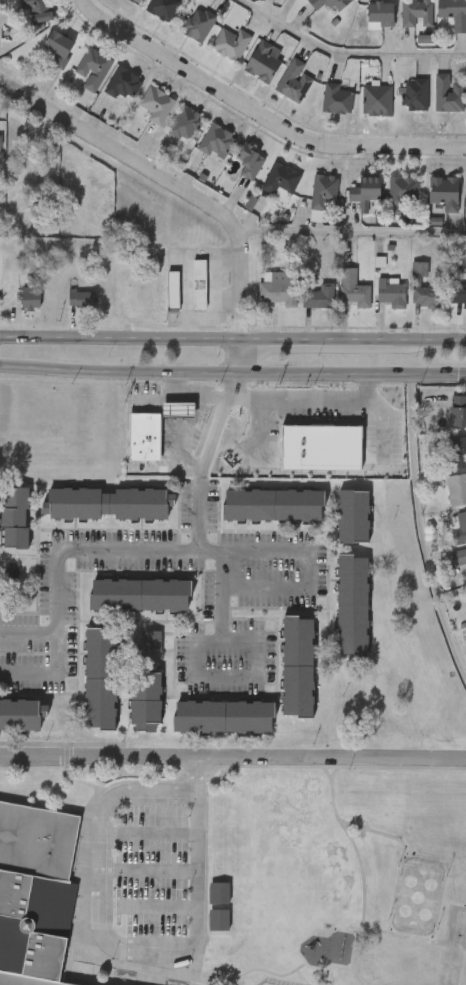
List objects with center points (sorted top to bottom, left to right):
building: (329, 4)
building: (162, 8)
building: (35, 10)
building: (416, 13)
building: (453, 13)
building: (380, 14)
building: (198, 24)
building: (231, 43)
building: (58, 47)
road: (351, 49)
building: (264, 61)
building: (93, 68)
building: (294, 81)
building: (123, 84)
building: (415, 94)
building: (448, 94)
building: (338, 99)
building: (377, 100)
building: (157, 106)
road: (261, 115)
building: (185, 123)
building: (1, 140)
building: (217, 142)
building: (249, 161)
building: (281, 180)
road: (182, 187)
building: (364, 189)
building: (403, 190)
building: (323, 191)
building: (444, 192)
road: (351, 234)
building: (200, 285)
building: (280, 287)
building: (352, 289)
building: (173, 291)
building: (390, 293)
building: (459, 294)
building: (426, 296)
building: (319, 297)
building: (31, 299)
building: (82, 300)
road: (232, 335)
road: (232, 372)
road: (190, 396)
building: (302, 408)
building: (178, 411)
gas station: (178, 411)
building: (458, 411)
building: (146, 438)
building: (321, 448)
building: (457, 452)
building: (456, 489)
building: (109, 504)
building: (274, 505)
building: (354, 517)
building: (15, 518)
building: (459, 527)
road: (422, 528)
road: (151, 551)
building: (459, 558)
road: (307, 588)
building: (139, 595)
building: (353, 606)
building: (152, 642)
building: (297, 667)
road: (45, 672)
building: (101, 679)
road: (223, 684)
building: (145, 698)
building: (21, 715)
building: (222, 717)
road: (233, 756)
road: (265, 766)
road: (326, 773)
road: (196, 776)
road: (150, 834)
road: (351, 843)
road: (149, 871)
park: (360, 877)
building: (219, 893)
building: (34, 895)
road: (149, 908)
building: (219, 921)
park: (456, 926)
road: (113, 941)
road: (298, 973)
road: (437, 984)

